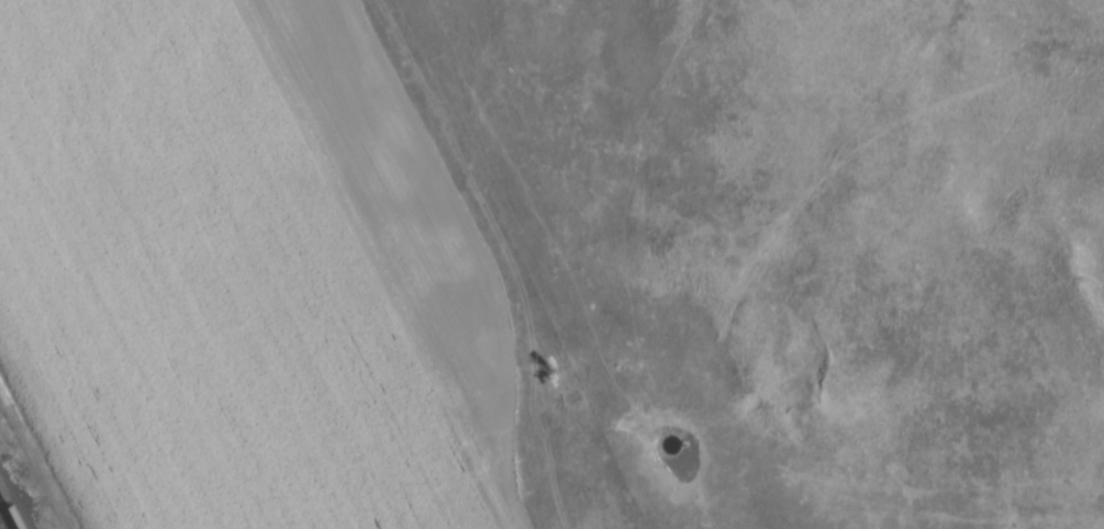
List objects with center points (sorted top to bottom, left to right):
crop: (246, 274)
building: (23, 390)
railway: (12, 505)
railway: (7, 515)

